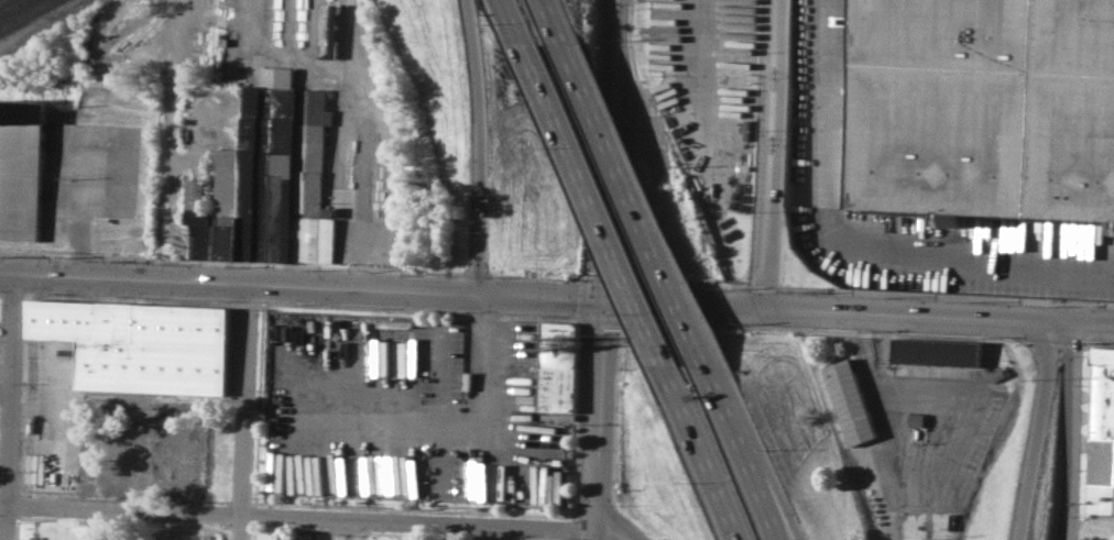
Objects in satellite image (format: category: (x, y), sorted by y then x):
railway: (1, 0)
railway: (12, 7)
railway: (23, 13)
road: (515, 21)
road: (554, 22)
railway: (44, 25)
building: (328, 29)
railway: (207, 33)
road: (700, 91)
parking lot: (708, 91)
parking lot: (826, 102)
building: (990, 107)
road: (483, 146)
road: (611, 151)
road: (767, 154)
building: (22, 168)
parking lot: (96, 169)
building: (253, 177)
building: (315, 183)
road: (594, 203)
road: (80, 208)
road: (641, 209)
road: (852, 243)
road: (228, 262)
road: (471, 273)
road: (536, 276)
road: (603, 278)
road: (682, 282)
road: (761, 285)
road: (303, 287)
road: (946, 295)
road: (860, 315)
building: (138, 344)
building: (936, 353)
road: (484, 363)
building: (557, 367)
road: (882, 377)
building: (848, 403)
road: (10, 407)
road: (244, 412)
road: (603, 421)
road: (1037, 430)
road: (1072, 431)
building: (1102, 434)
road: (703, 451)
road: (747, 456)
road: (780, 514)
road: (299, 519)
road: (623, 531)
road: (1068, 533)
building: (1108, 533)
building: (195, 536)
building: (927, 538)

